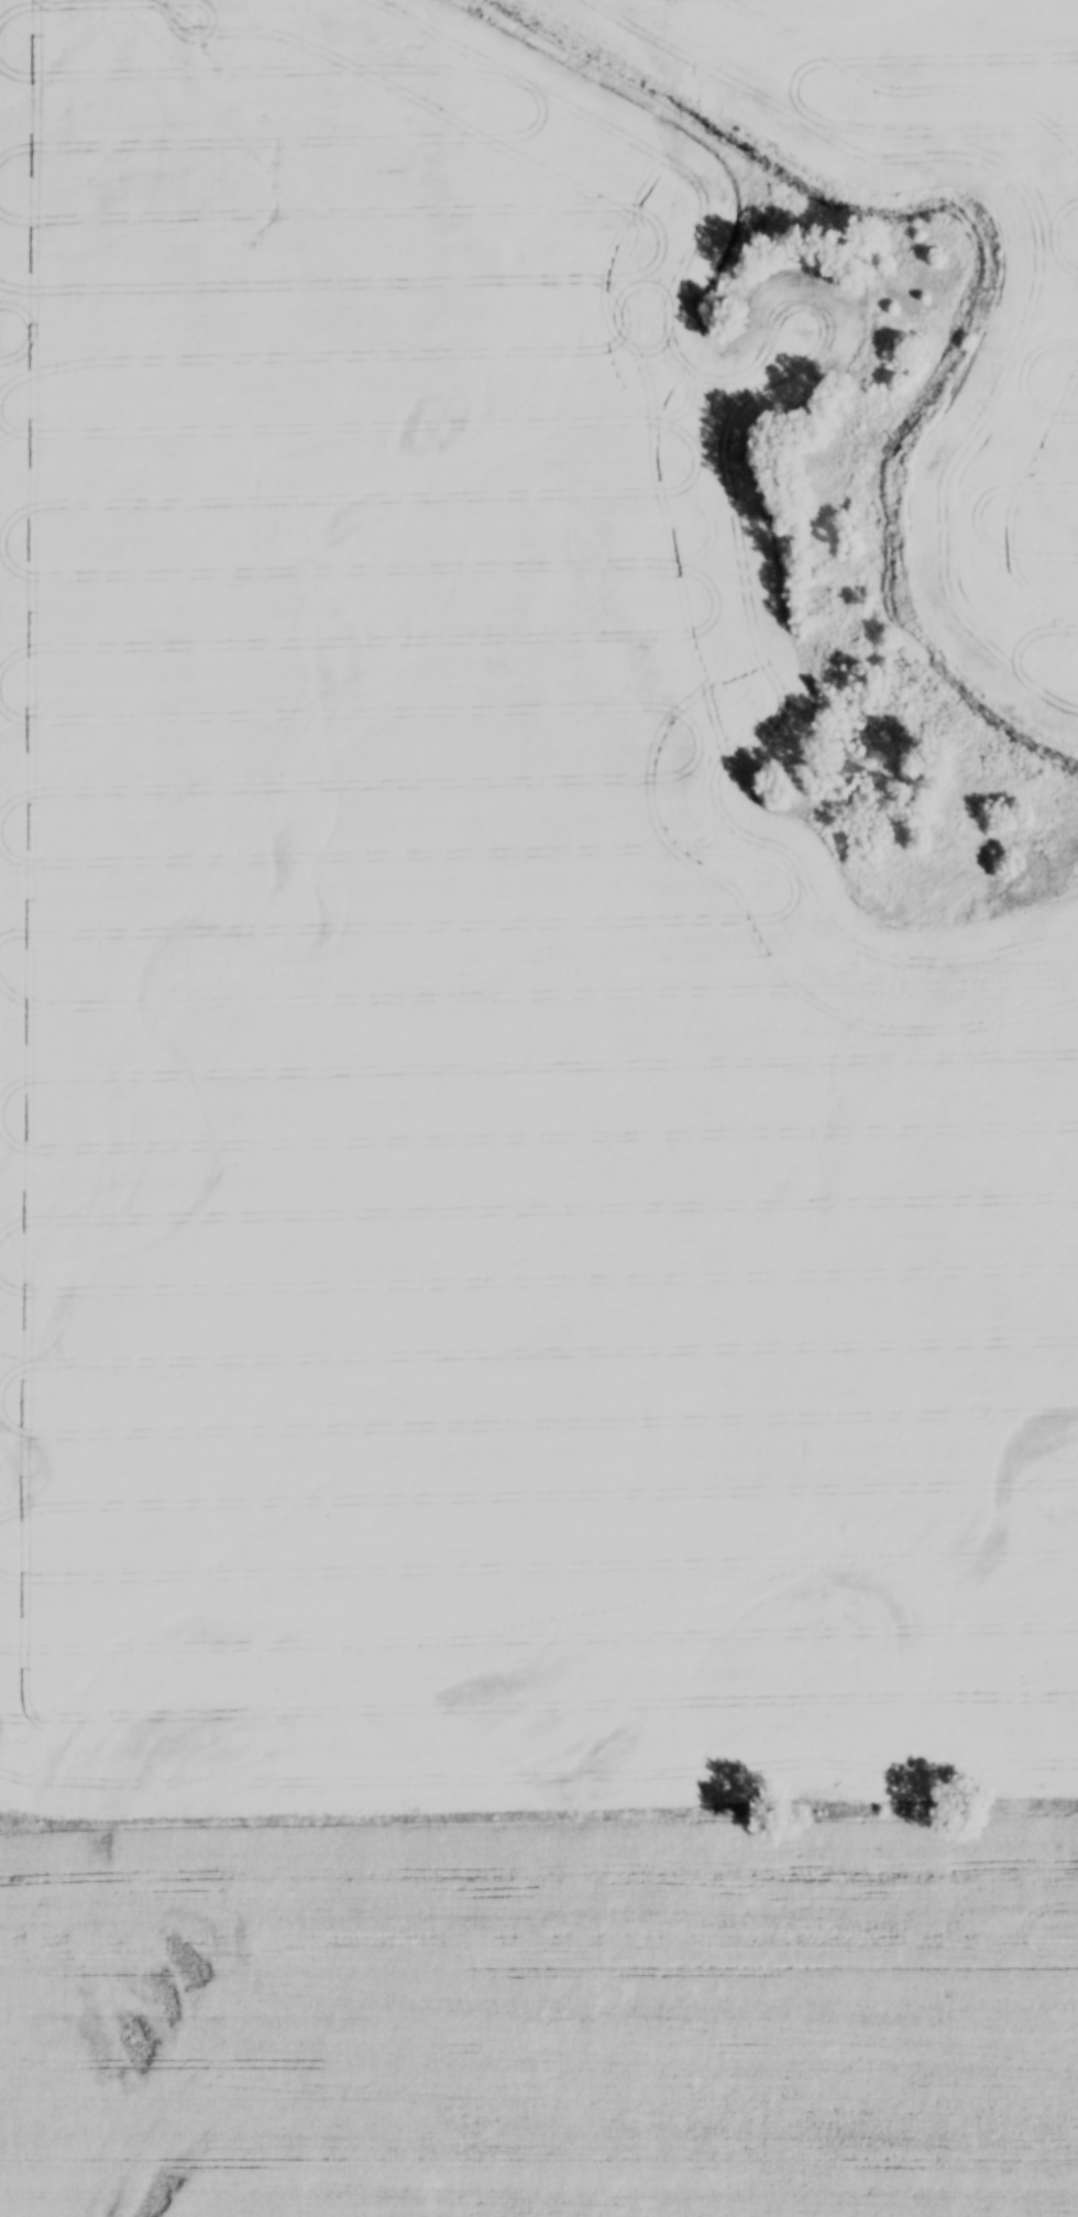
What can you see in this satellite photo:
river: (868, 612)

